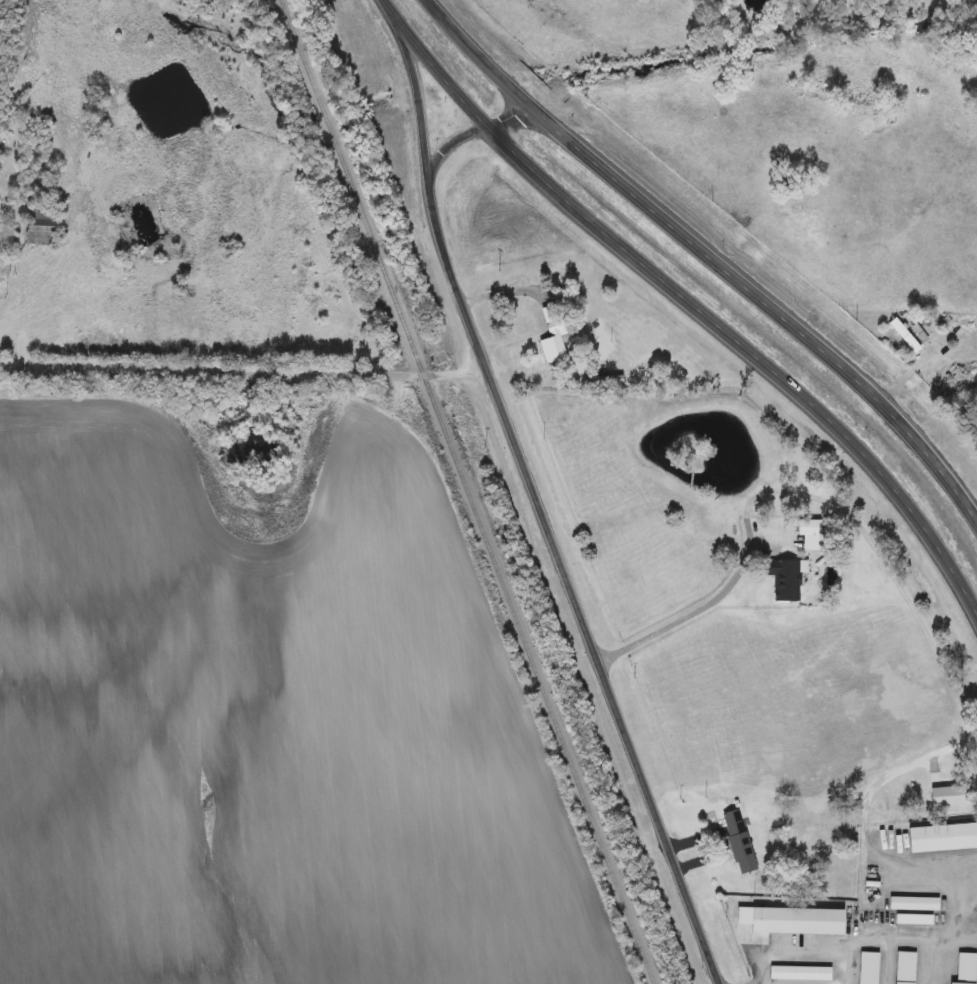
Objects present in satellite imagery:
road: (475, 54)
road: (417, 89)
road: (511, 118)
road: (451, 144)
building: (49, 226)
road: (687, 300)
road: (763, 302)
building: (556, 335)
building: (907, 336)
road: (244, 372)
building: (608, 382)
railway: (470, 492)
building: (811, 528)
building: (789, 581)
road: (570, 585)
road: (701, 609)
building: (885, 785)
building: (944, 839)
building: (742, 843)
building: (917, 905)
road: (963, 910)
building: (801, 923)
road: (919, 941)
road: (795, 949)
road: (851, 964)
building: (870, 968)
building: (908, 968)
building: (968, 968)
building: (802, 973)

